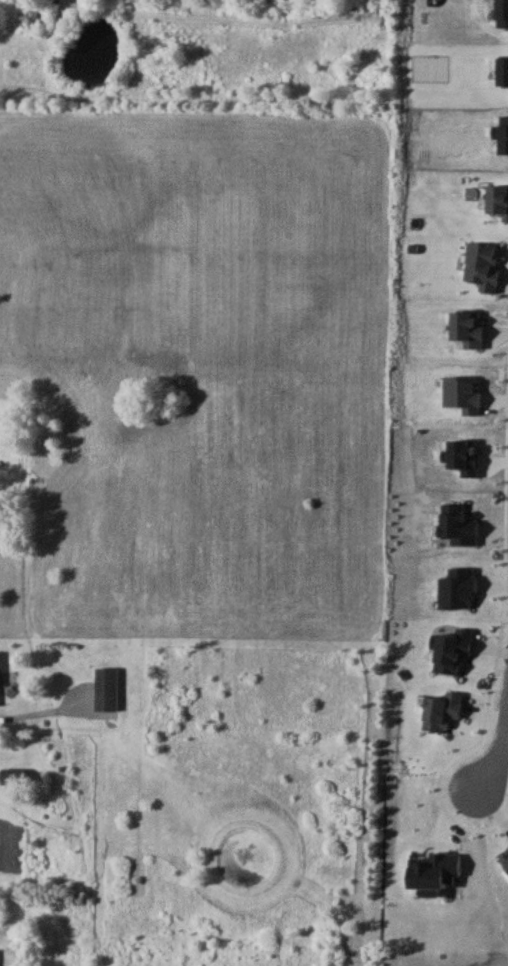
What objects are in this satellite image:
building: (105, 688)
road: (495, 752)
building: (11, 778)

